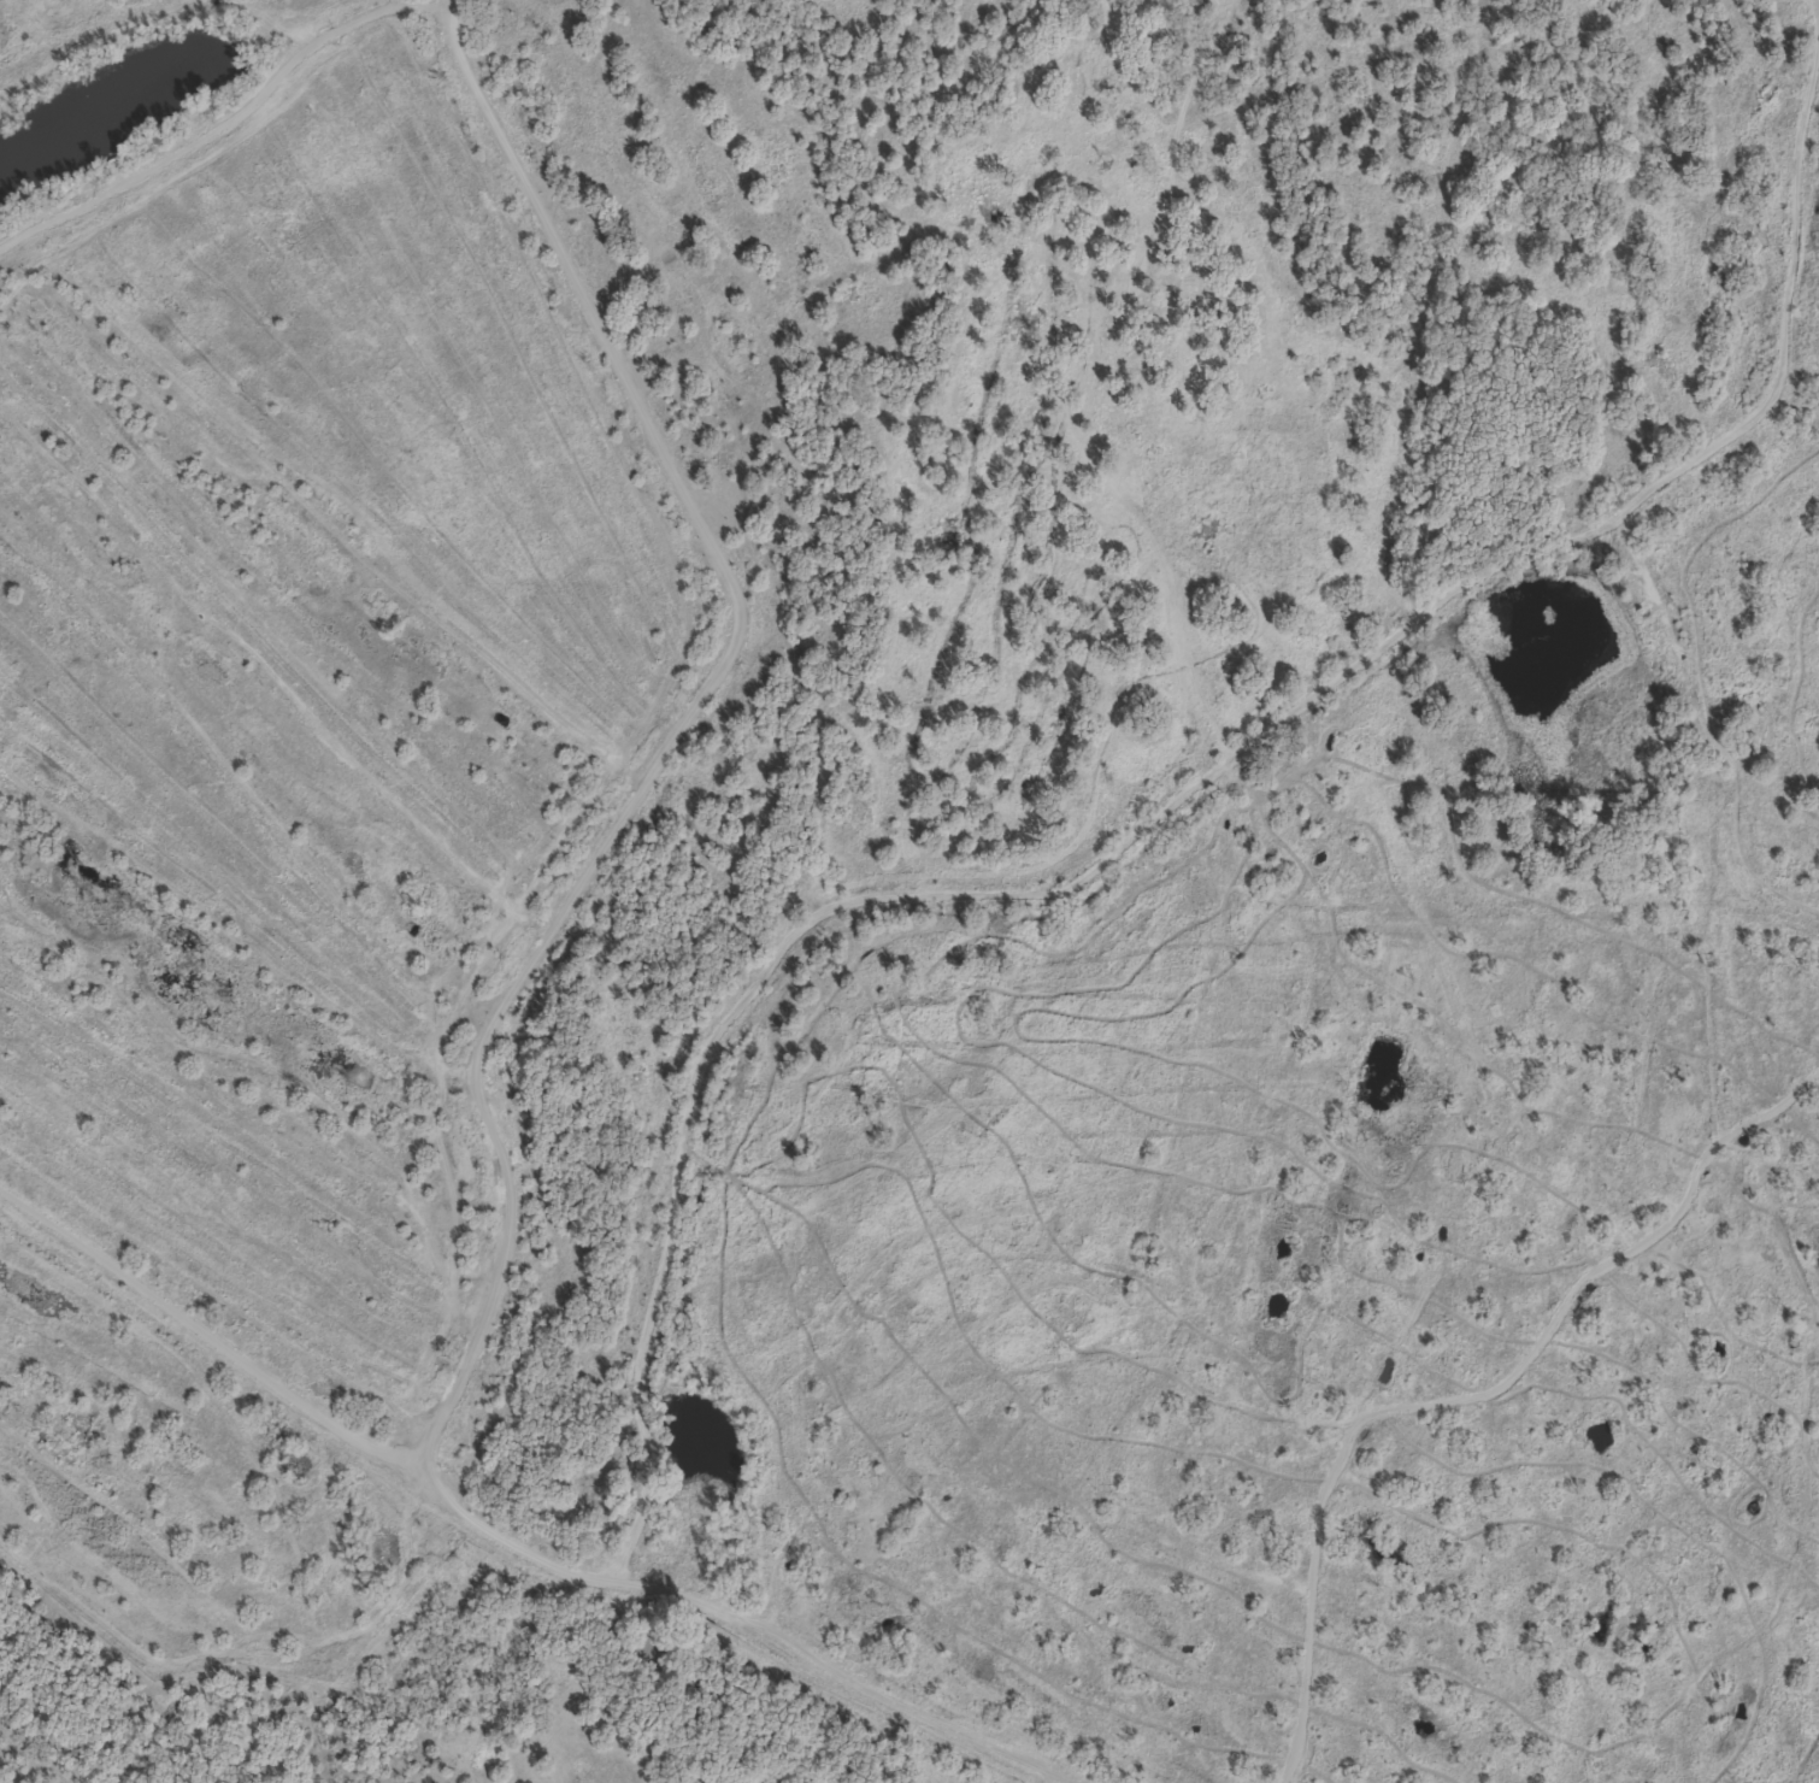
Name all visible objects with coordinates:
road: (1815, 5)
road: (679, 737)
road: (813, 932)
road: (1049, 1218)
road: (831, 1678)
road: (1043, 1781)

